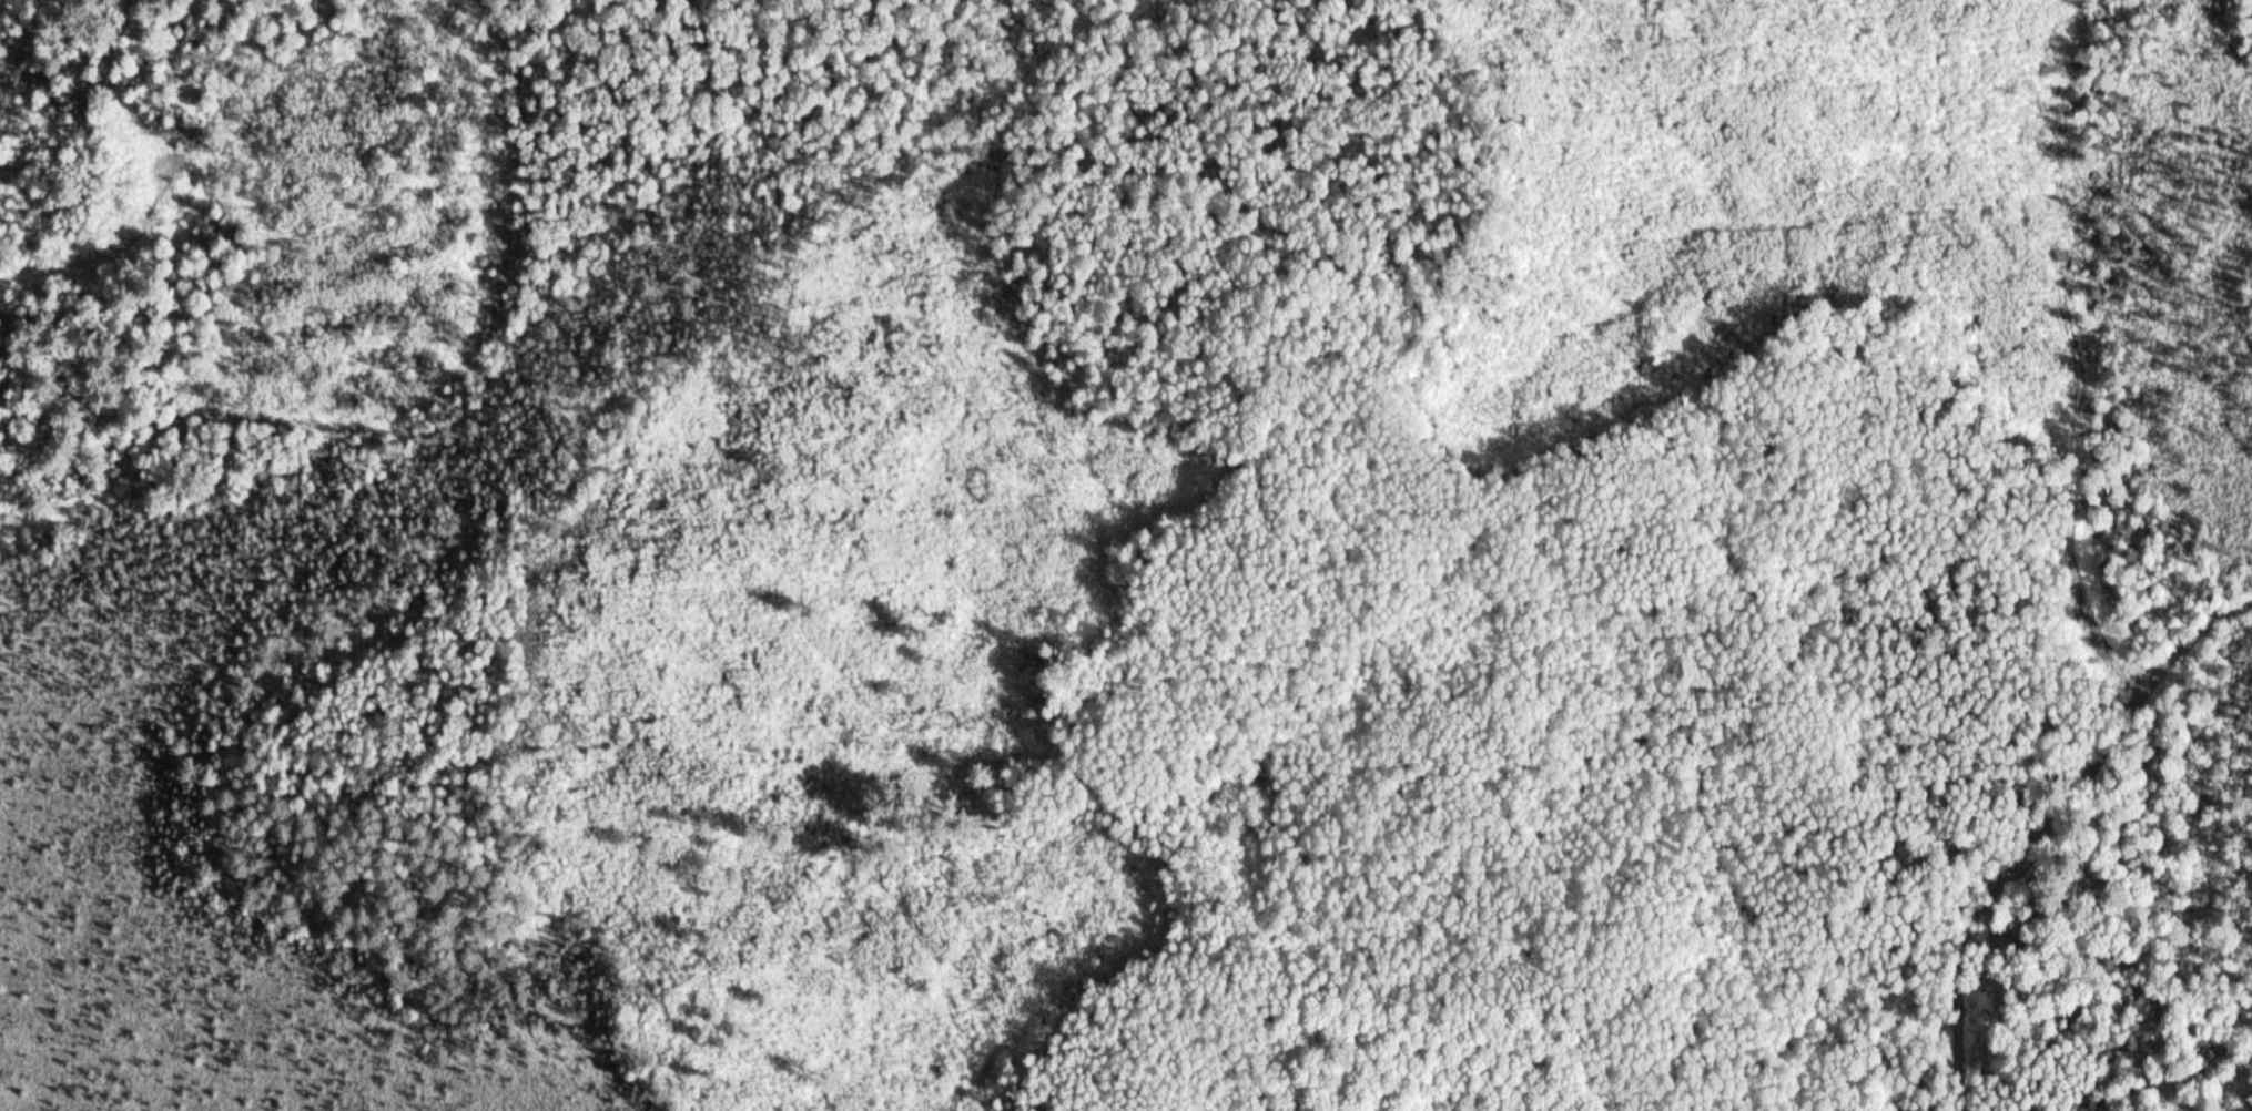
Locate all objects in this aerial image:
road: (2046, 852)

